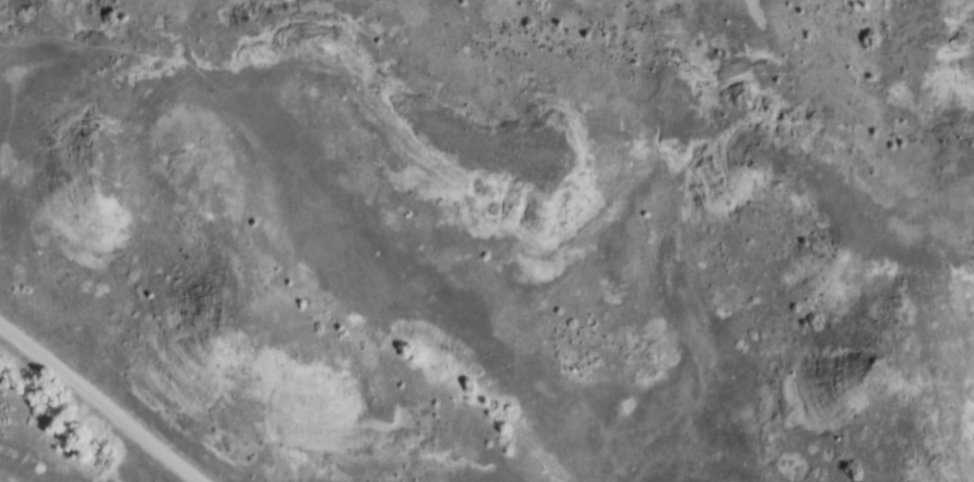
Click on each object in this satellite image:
road: (95, 405)

